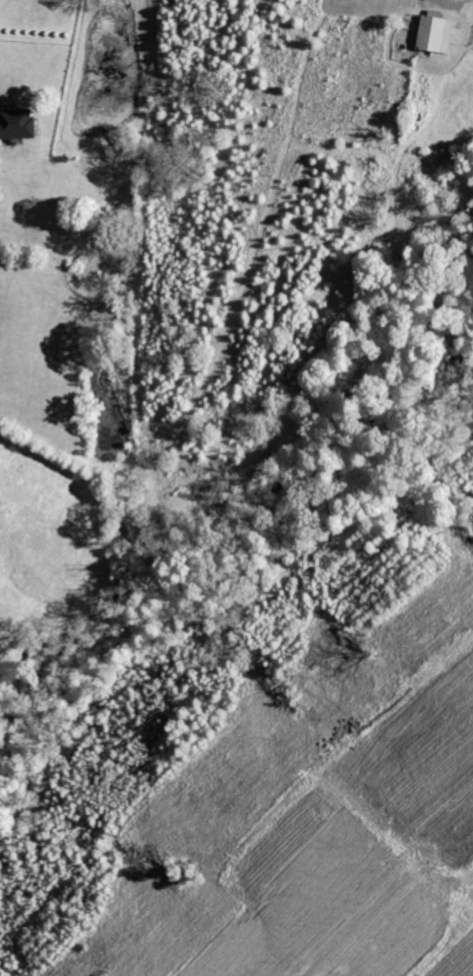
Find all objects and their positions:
building: (438, 34)
building: (18, 124)

